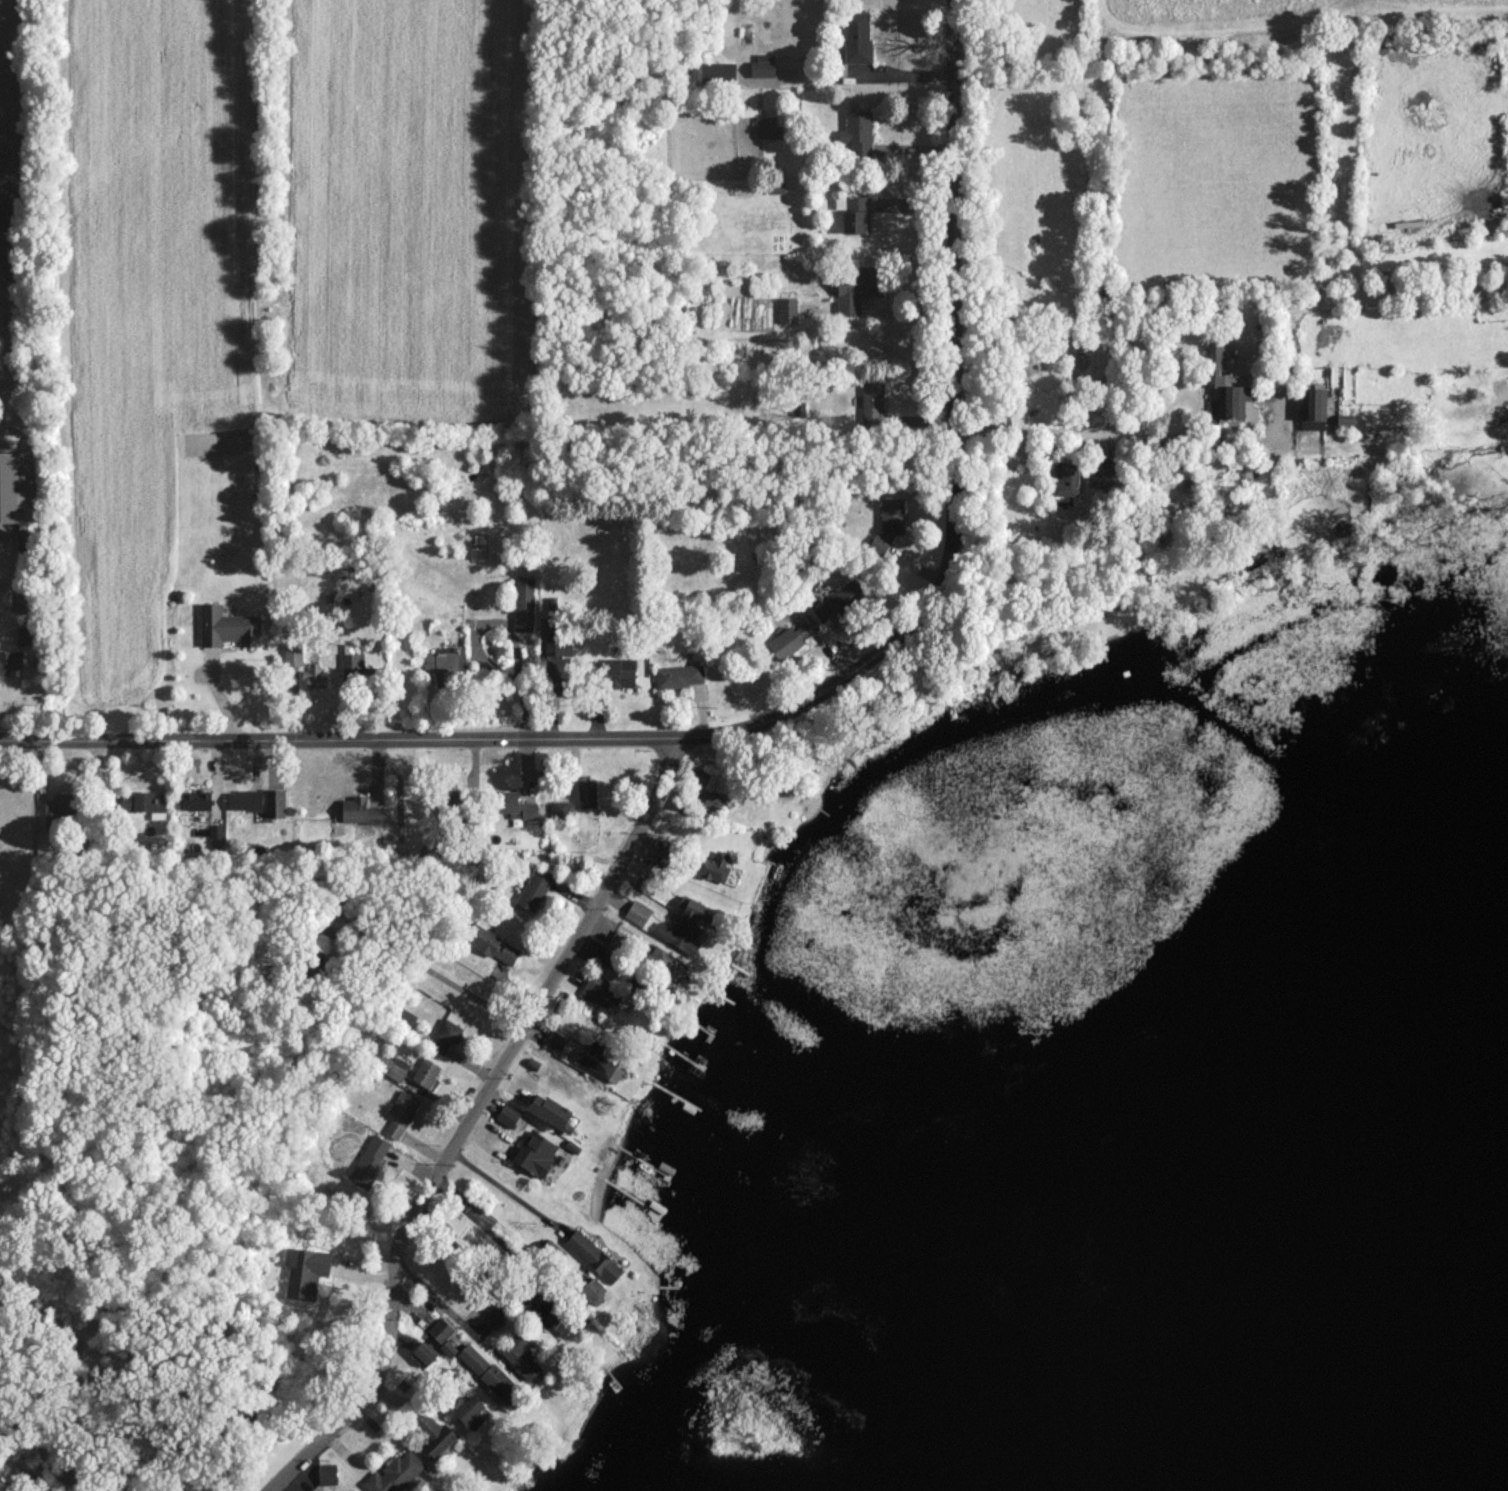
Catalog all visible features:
building: (856, 37)
building: (762, 65)
building: (717, 72)
building: (768, 127)
building: (857, 133)
building: (856, 214)
building: (856, 289)
building: (787, 310)
road: (1200, 322)
road: (1290, 376)
building: (1229, 386)
building: (872, 403)
building: (1312, 408)
building: (1344, 421)
road: (953, 456)
building: (1066, 482)
building: (18, 496)
building: (888, 524)
building: (839, 601)
building: (523, 604)
building: (227, 627)
building: (25, 635)
building: (793, 637)
building: (293, 653)
building: (11, 662)
building: (354, 665)
building: (446, 665)
building: (614, 672)
building: (679, 675)
building: (313, 676)
road: (334, 733)
building: (699, 776)
building: (586, 793)
building: (196, 799)
building: (714, 799)
building: (244, 800)
building: (453, 800)
building: (145, 803)
building: (274, 803)
building: (512, 805)
building: (57, 806)
building: (560, 810)
building: (360, 811)
building: (216, 834)
building: (712, 866)
building: (534, 889)
building: (698, 911)
building: (637, 912)
building: (678, 935)
building: (620, 939)
building: (492, 944)
building: (608, 959)
building: (667, 964)
road: (427, 967)
building: (596, 992)
building: (404, 1017)
building: (445, 1036)
building: (554, 1040)
building: (597, 1061)
building: (550, 1111)
building: (400, 1113)
building: (507, 1115)
road: (465, 1120)
building: (535, 1153)
building: (368, 1161)
road: (504, 1188)
road: (489, 1226)
building: (593, 1256)
building: (304, 1271)
building: (592, 1290)
road: (436, 1296)
building: (545, 1311)
building: (493, 1317)
building: (442, 1333)
building: (448, 1348)
building: (424, 1353)
building: (520, 1356)
building: (487, 1372)
building: (471, 1412)
building: (433, 1433)
building: (394, 1473)
building: (326, 1474)
building: (351, 1490)

